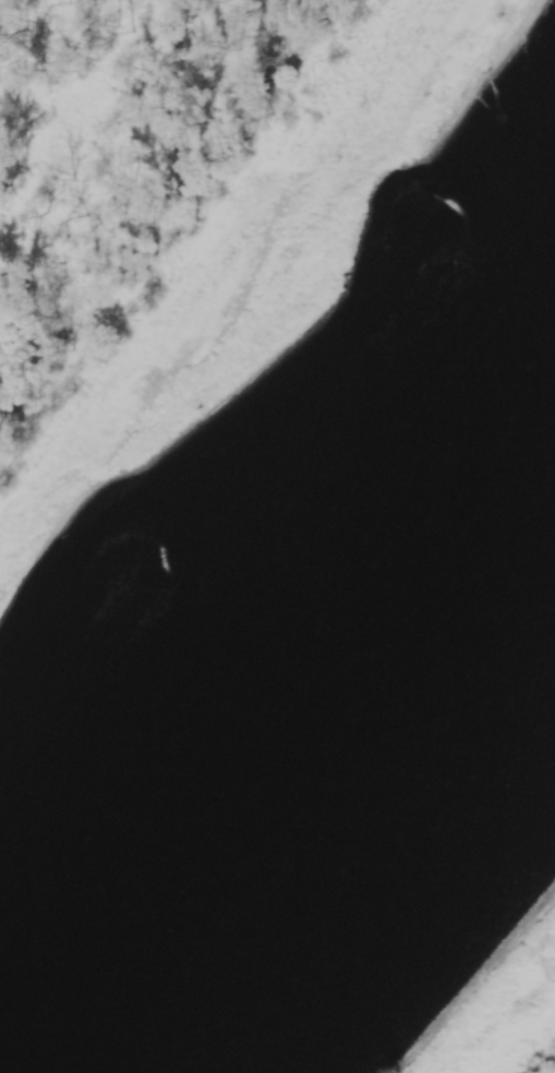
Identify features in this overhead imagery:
park: (135, 182)
river: (303, 770)

